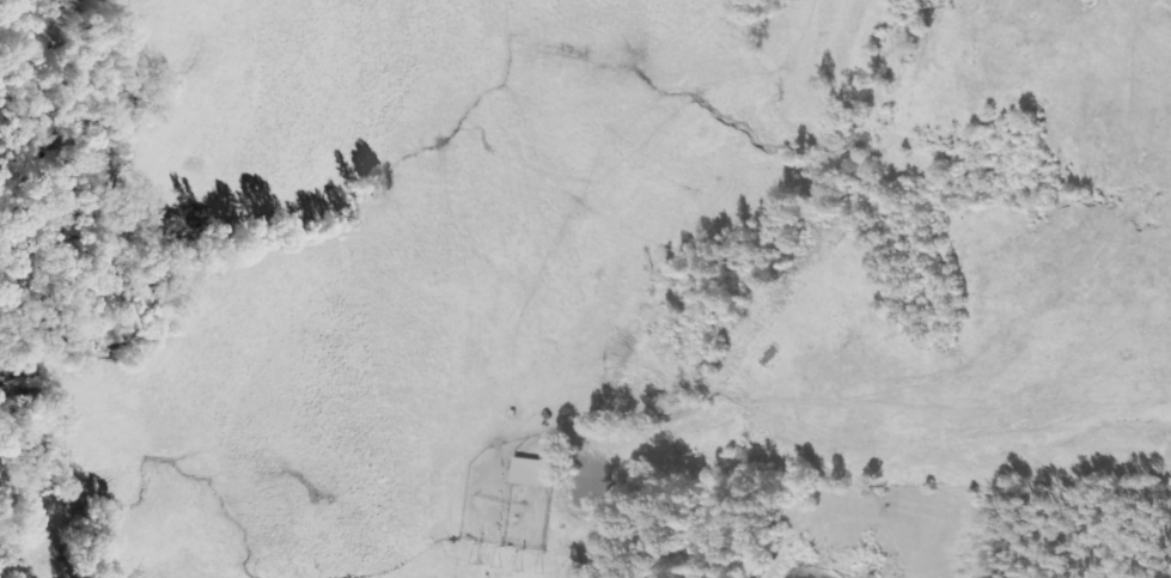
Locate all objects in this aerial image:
building: (537, 471)

